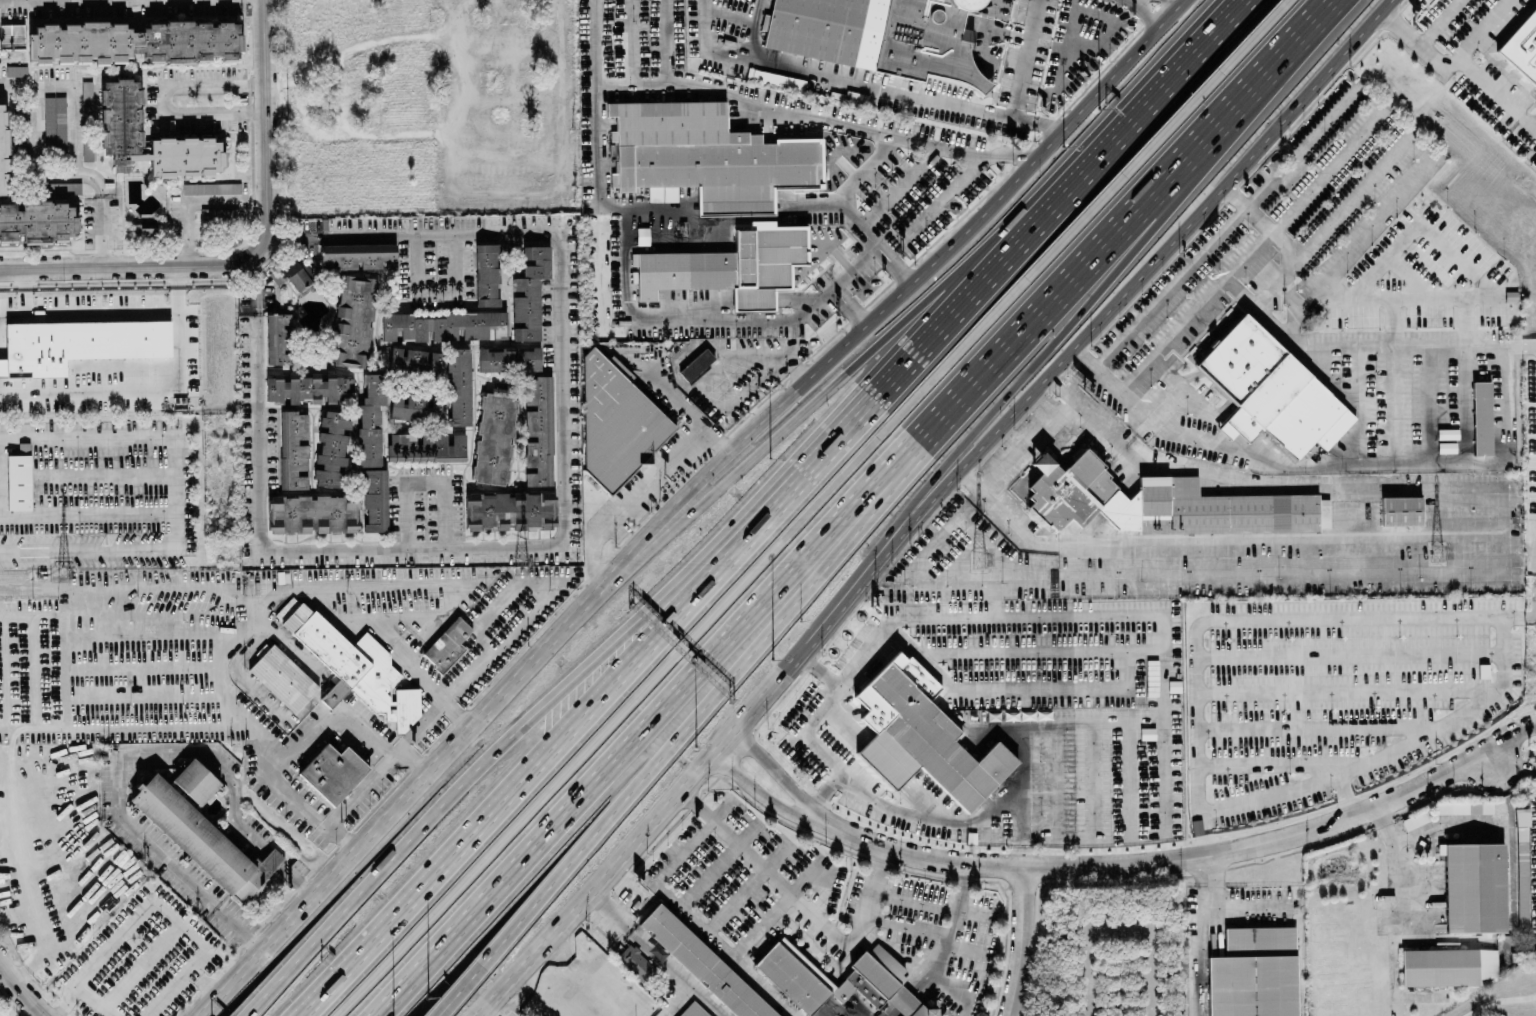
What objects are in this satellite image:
road: (1180, 0)
road: (1133, 1)
road: (1146, 10)
road: (457, 20)
road: (1439, 22)
road: (755, 29)
road: (1310, 30)
building: (11, 34)
building: (877, 35)
road: (265, 36)
road: (1206, 39)
building: (133, 41)
road: (667, 42)
road: (596, 43)
road: (632, 43)
building: (1521, 45)
road: (457, 57)
road: (1022, 58)
road: (1448, 65)
building: (15, 70)
road: (862, 83)
road: (266, 90)
road: (1496, 92)
road: (167, 94)
road: (773, 108)
building: (86, 115)
building: (54, 121)
building: (120, 122)
road: (1534, 126)
road: (1157, 139)
road: (78, 140)
road: (1303, 145)
road: (39, 149)
road: (268, 150)
building: (706, 156)
road: (1018, 157)
road: (560, 171)
road: (1325, 171)
road: (859, 173)
road: (898, 185)
building: (211, 187)
road: (601, 187)
road: (194, 192)
road: (941, 192)
road: (1242, 192)
road: (1346, 203)
building: (30, 207)
road: (665, 211)
building: (212, 212)
road: (269, 216)
road: (846, 216)
building: (145, 229)
road: (1362, 238)
building: (356, 255)
road: (603, 257)
road: (568, 260)
road: (136, 261)
road: (904, 262)
building: (729, 265)
road: (861, 269)
building: (485, 273)
building: (290, 274)
road: (441, 290)
building: (529, 291)
road: (902, 295)
road: (967, 303)
road: (1198, 308)
road: (850, 310)
road: (78, 311)
building: (352, 320)
road: (681, 321)
road: (1290, 322)
building: (443, 324)
road: (1095, 324)
road: (892, 332)
building: (277, 337)
building: (78, 343)
road: (1089, 353)
road: (734, 354)
building: (508, 358)
building: (413, 360)
building: (695, 363)
road: (769, 368)
building: (459, 385)
road: (149, 386)
building: (306, 387)
building: (1270, 390)
road: (1006, 394)
road: (689, 404)
building: (408, 406)
building: (1481, 418)
building: (369, 420)
building: (615, 420)
building: (537, 430)
building: (494, 434)
building: (425, 446)
building: (292, 448)
building: (331, 449)
road: (1286, 466)
road: (430, 472)
road: (993, 474)
road: (972, 477)
building: (18, 481)
road: (650, 485)
road: (174, 491)
building: (375, 499)
building: (1158, 501)
building: (508, 509)
building: (1400, 510)
building: (311, 513)
road: (830, 535)
road: (1228, 536)
power tower: (1433, 552)
road: (266, 554)
power tower: (974, 558)
road: (601, 563)
power tower: (60, 572)
power tower: (517, 572)
road: (1471, 574)
road: (1535, 586)
road: (28, 587)
road: (169, 587)
road: (75, 601)
road: (499, 603)
road: (163, 612)
road: (46, 613)
road: (941, 616)
road: (383, 618)
road: (238, 630)
road: (1195, 638)
road: (147, 639)
building: (447, 644)
road: (679, 648)
road: (862, 650)
road: (799, 652)
road: (1533, 656)
building: (355, 666)
road: (474, 669)
road: (819, 669)
road: (5, 670)
road: (35, 670)
road: (141, 670)
building: (281, 676)
road: (418, 678)
road: (1030, 689)
road: (715, 692)
road: (768, 694)
road: (1164, 694)
road: (143, 702)
road: (325, 718)
road: (1445, 720)
road: (844, 722)
road: (1535, 724)
road: (109, 726)
road: (20, 727)
road: (50, 727)
road: (2, 728)
road: (806, 728)
building: (920, 738)
road: (723, 745)
road: (490, 753)
road: (1513, 757)
road: (884, 760)
road: (775, 769)
building: (332, 772)
road: (532, 773)
building: (195, 780)
road: (364, 786)
road: (119, 789)
road: (756, 791)
road: (823, 791)
road: (405, 797)
road: (925, 798)
building: (1464, 807)
road: (722, 808)
road: (933, 816)
road: (246, 828)
road: (747, 832)
building: (195, 836)
road: (1020, 849)
road: (777, 855)
road: (1180, 858)
building: (1521, 865)
road: (823, 870)
road: (708, 874)
building: (1473, 885)
road: (598, 889)
road: (915, 895)
road: (736, 900)
road: (801, 903)
road: (1218, 907)
road: (975, 909)
road: (227, 913)
road: (695, 918)
road: (622, 919)
road: (1127, 930)
road: (944, 932)
road: (1022, 942)
road: (108, 945)
road: (968, 947)
building: (657, 950)
road: (939, 950)
road: (655, 952)
building: (635, 962)
building: (703, 963)
road: (190, 965)
building: (1446, 965)
road: (140, 966)
road: (2, 968)
road: (6, 969)
building: (1253, 973)
building: (872, 978)
road: (948, 979)
road: (203, 982)
road: (763, 985)
road: (460, 986)
road: (692, 987)
road: (461, 993)
road: (29, 998)
road: (902, 999)
road: (1497, 999)
road: (676, 1000)
road: (97, 1003)
road: (843, 1006)
building: (692, 1010)
road: (891, 1011)
road: (488, 1013)
road: (244, 1014)

